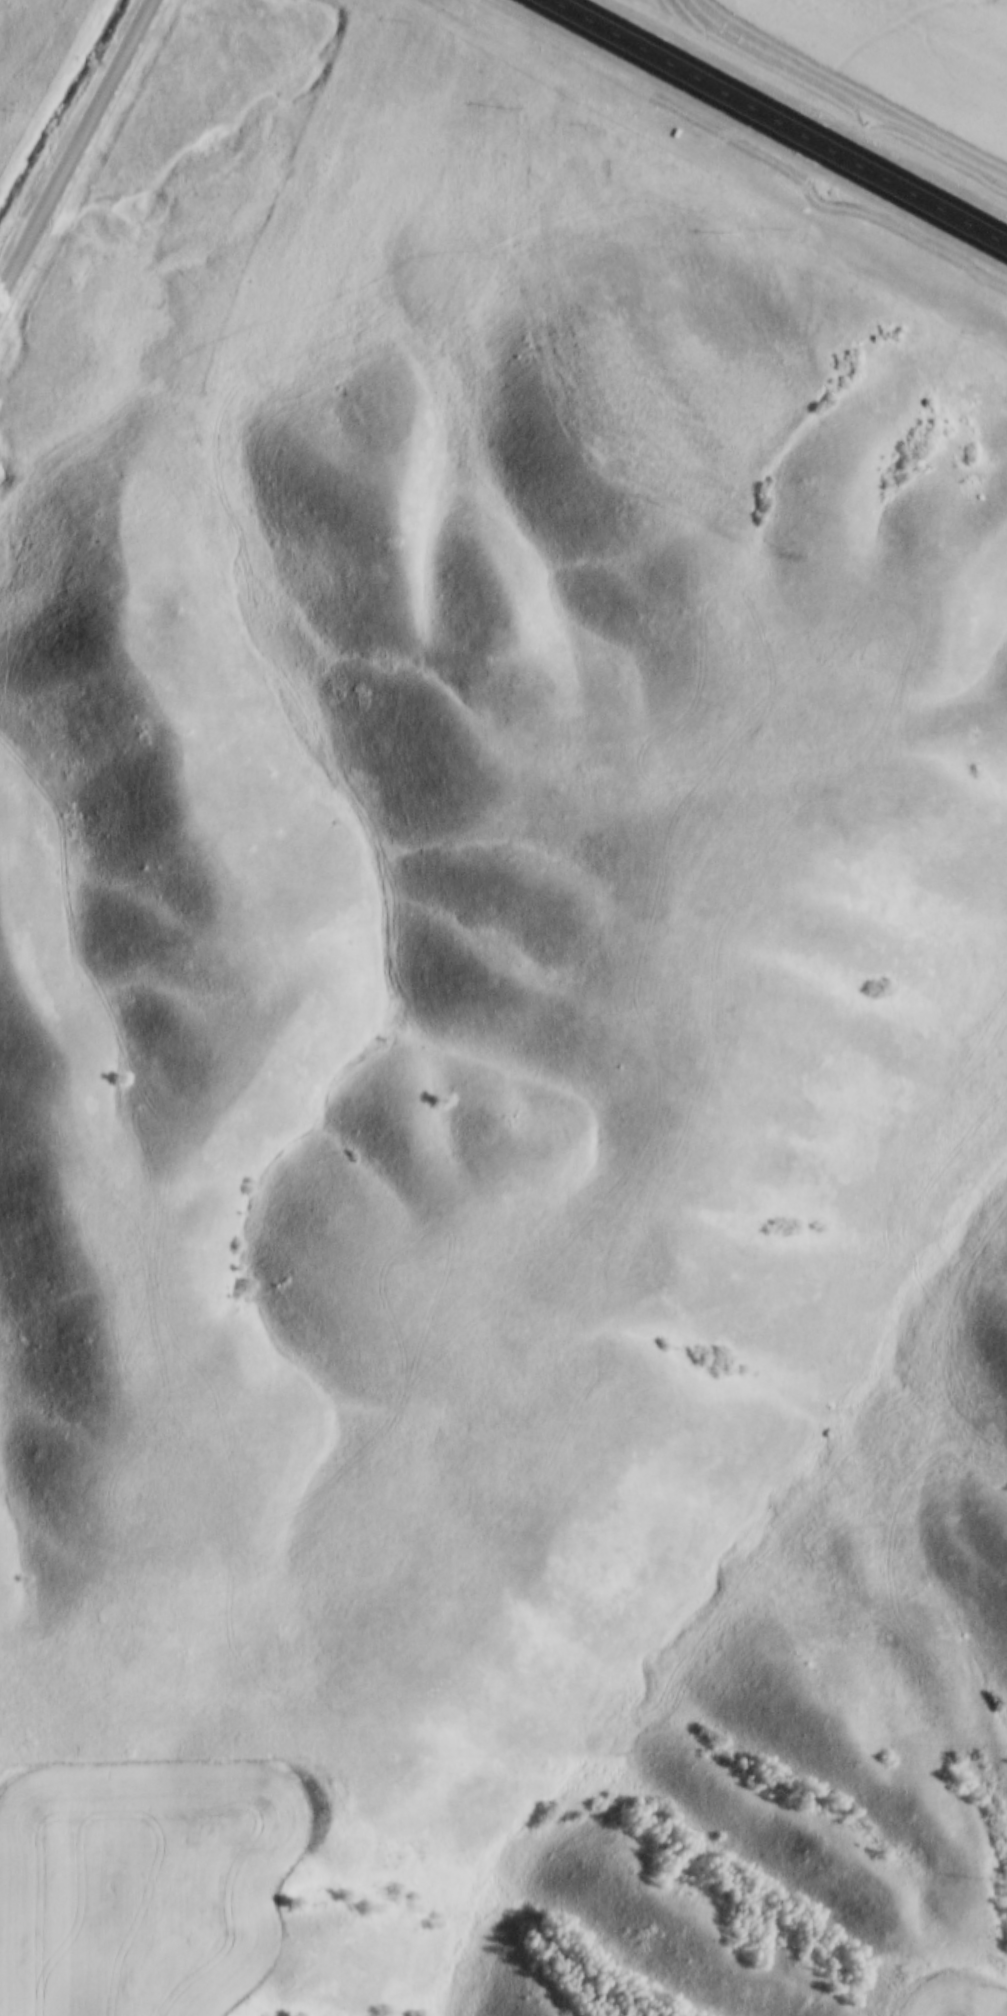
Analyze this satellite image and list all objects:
road: (781, 119)
road: (74, 143)

